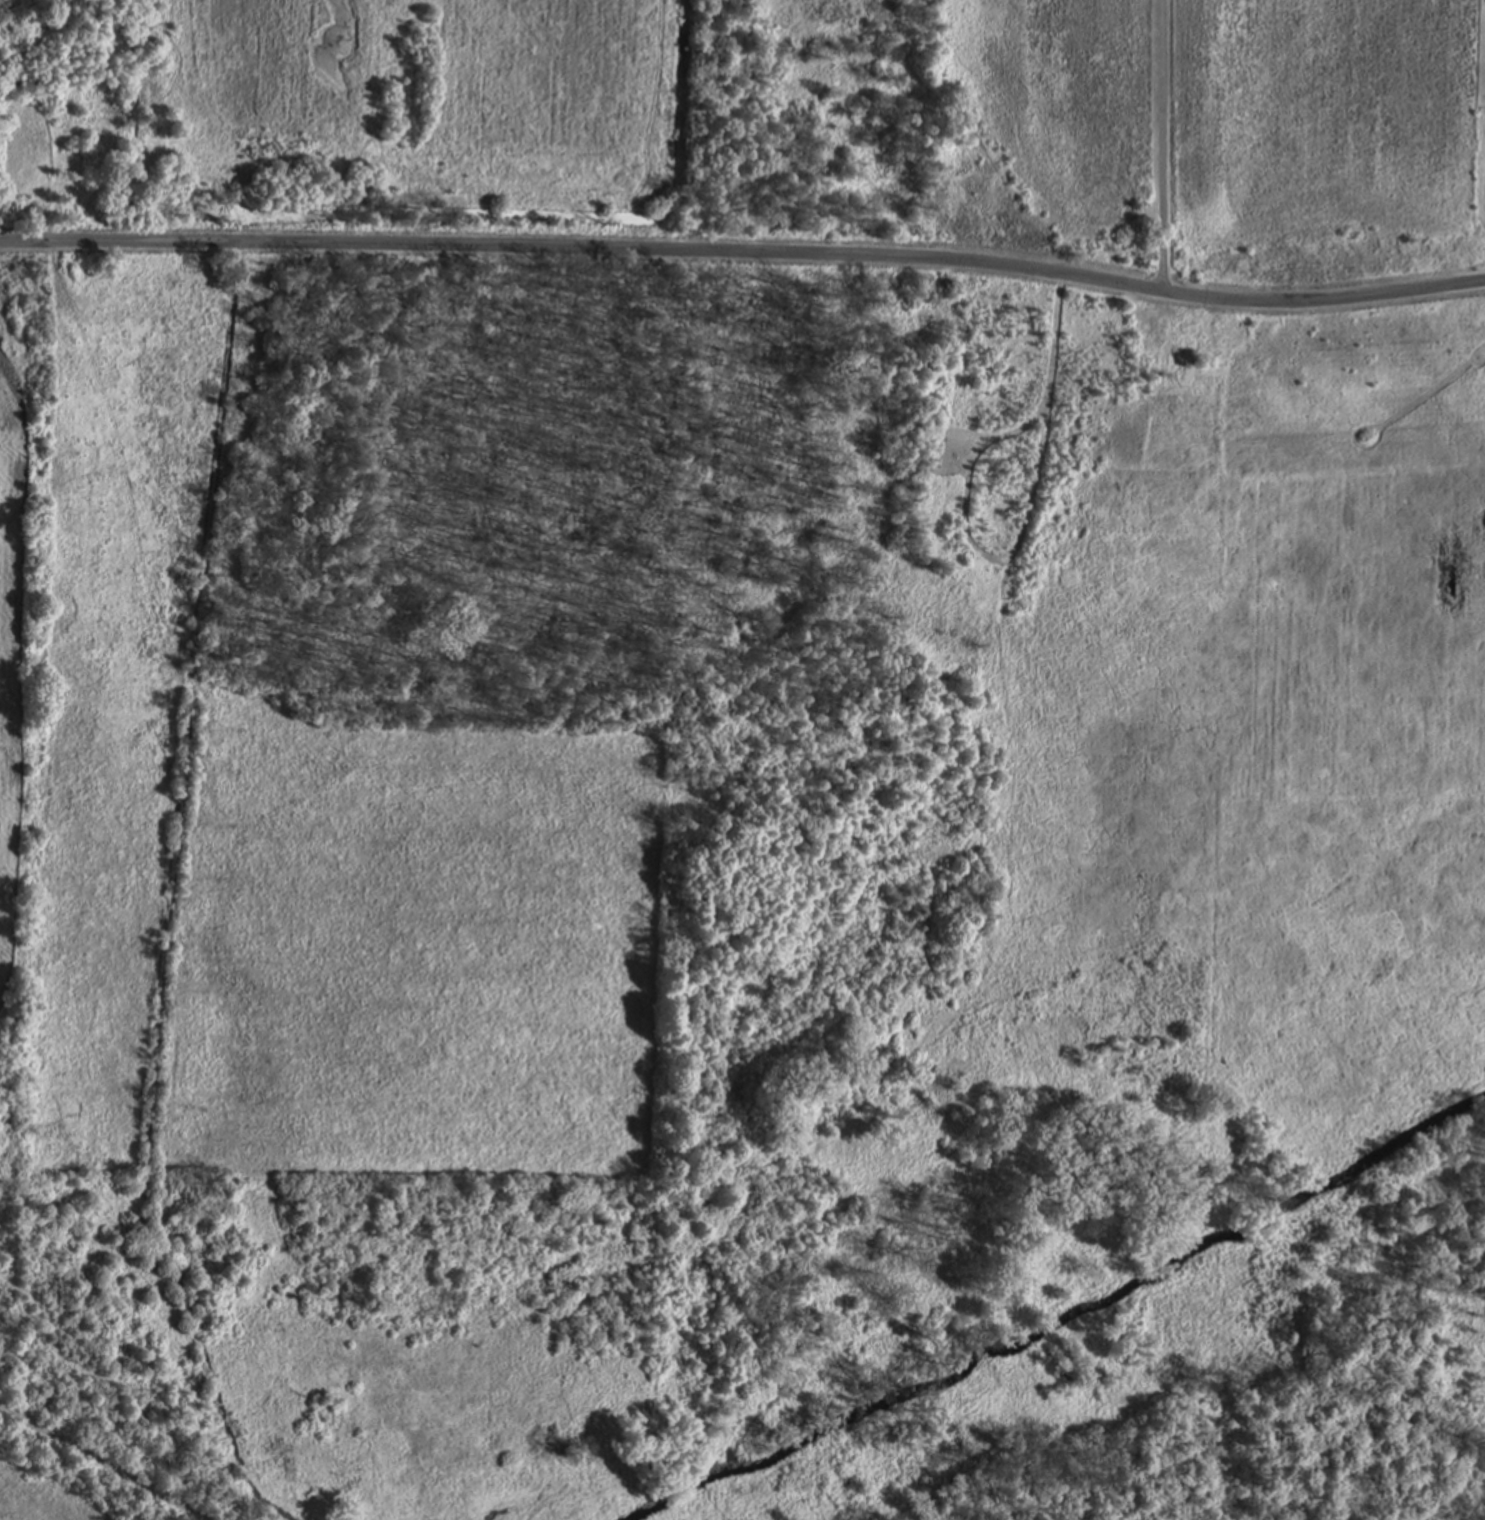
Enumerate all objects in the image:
road: (1159, 146)
road: (744, 253)
road: (101, 1463)

